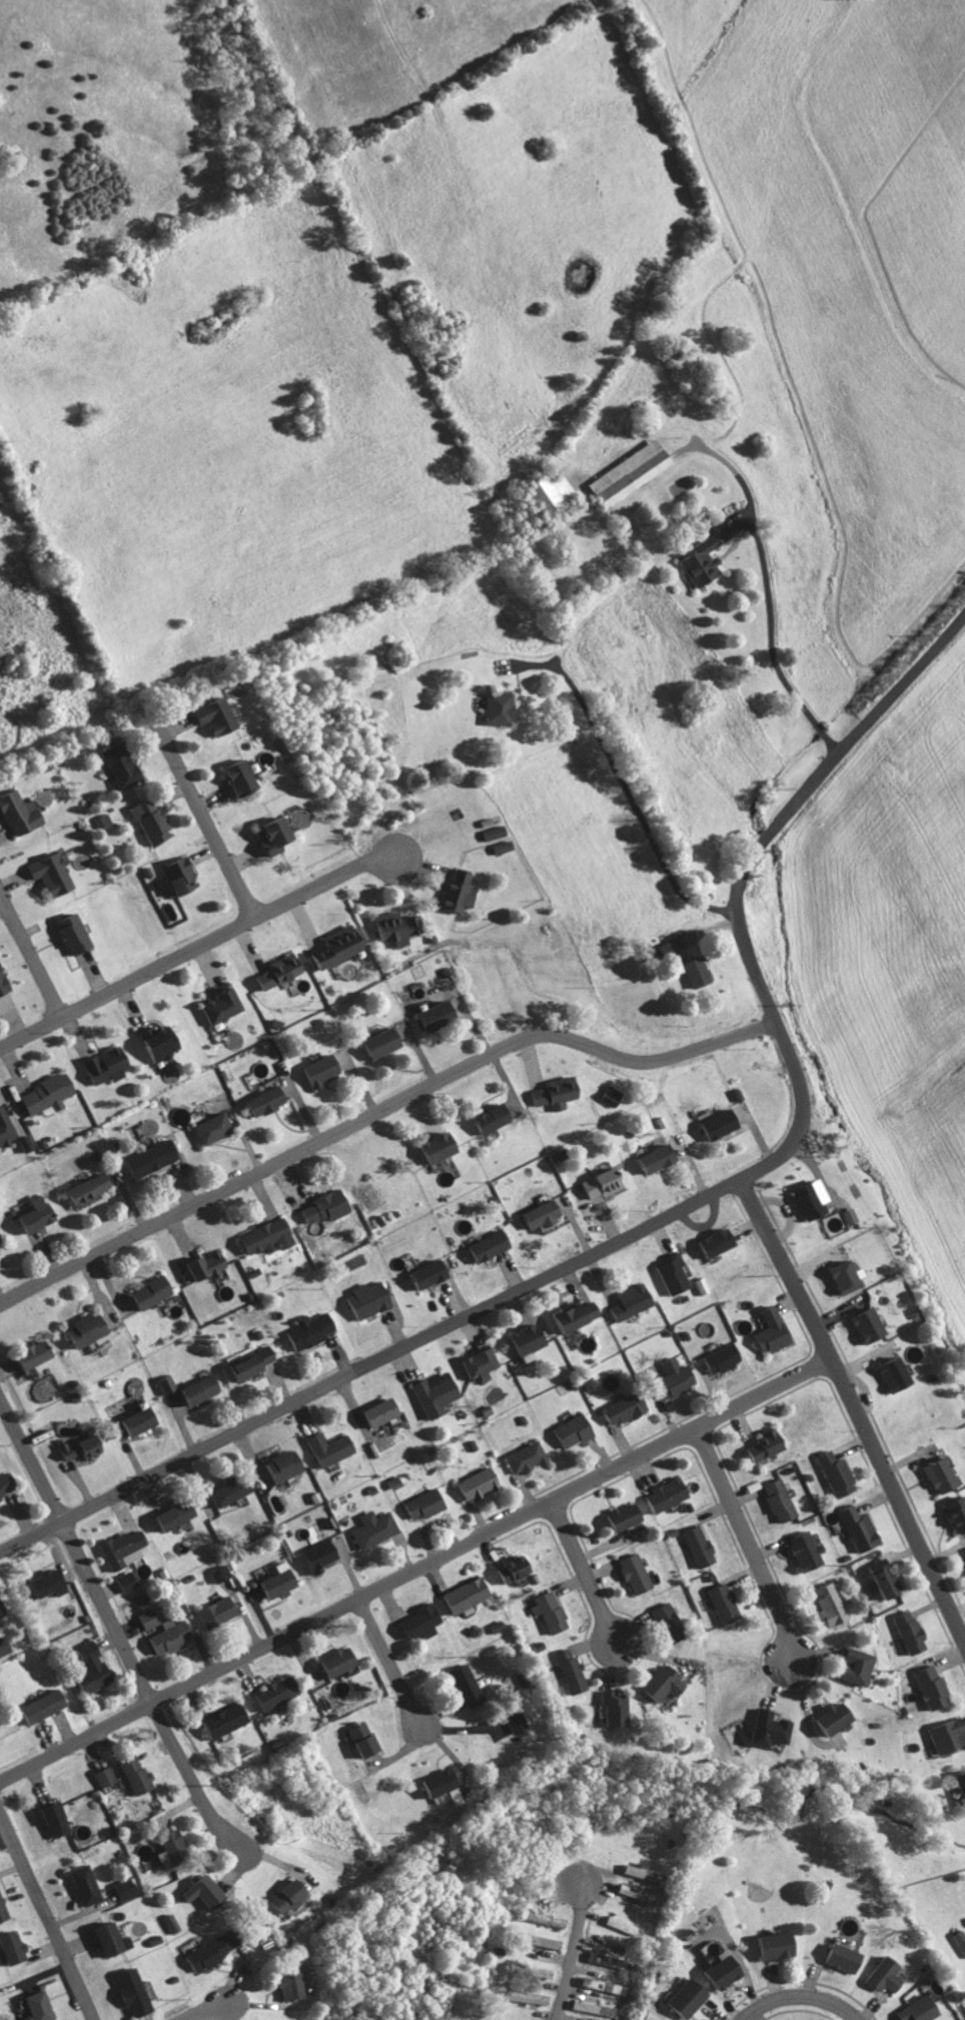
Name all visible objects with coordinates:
building: (623, 474)
building: (544, 491)
building: (702, 557)
road: (774, 645)
building: (493, 708)
building: (208, 715)
building: (116, 765)
building: (232, 775)
road: (622, 780)
building: (14, 812)
road: (203, 814)
building: (147, 820)
building: (490, 832)
building: (267, 834)
building: (498, 847)
building: (44, 873)
building: (173, 874)
building: (451, 891)
building: (389, 926)
building: (65, 932)
building: (332, 946)
building: (664, 948)
road: (192, 954)
road: (31, 961)
building: (274, 970)
building: (691, 971)
building: (215, 1004)
building: (427, 1014)
building: (374, 1042)
building: (153, 1044)
building: (101, 1064)
building: (315, 1069)
building: (41, 1093)
building: (549, 1093)
building: (605, 1095)
building: (258, 1100)
road: (377, 1111)
building: (483, 1118)
building: (712, 1124)
building: (206, 1127)
building: (4, 1129)
building: (430, 1147)
building: (146, 1158)
building: (649, 1158)
building: (594, 1183)
building: (82, 1190)
building: (804, 1198)
building: (321, 1205)
road: (675, 1211)
building: (534, 1214)
building: (30, 1215)
building: (845, 1215)
building: (1, 1236)
building: (261, 1237)
building: (708, 1242)
building: (482, 1246)
building: (201, 1265)
building: (422, 1273)
building: (668, 1274)
building: (837, 1277)
building: (144, 1292)
building: (363, 1300)
building: (626, 1302)
building: (569, 1315)
building: (859, 1325)
building: (79, 1330)
building: (306, 1330)
building: (765, 1331)
building: (521, 1341)
building: (39, 1354)
building: (716, 1358)
building: (245, 1364)
building: (471, 1364)
building: (886, 1373)
building: (668, 1379)
building: (163, 1383)
building: (194, 1389)
building: (430, 1393)
building: (618, 1408)
road: (852, 1411)
building: (373, 1412)
building: (132, 1421)
building: (568, 1431)
building: (758, 1446)
building: (86, 1447)
building: (324, 1448)
building: (522, 1457)
road: (30, 1461)
building: (278, 1466)
building: (830, 1473)
building: (931, 1475)
building: (474, 1484)
building: (8, 1485)
building: (225, 1490)
building: (661, 1494)
building: (774, 1500)
building: (419, 1504)
building: (169, 1515)
building: (618, 1516)
building: (370, 1528)
building: (853, 1528)
road: (744, 1538)
building: (695, 1546)
building: (125, 1548)
building: (800, 1551)
building: (963, 1555)
building: (313, 1556)
building: (510, 1567)
road: (413, 1569)
road: (581, 1571)
building: (630, 1572)
building: (217, 1573)
building: (878, 1578)
building: (129, 1581)
building: (52, 1582)
building: (272, 1582)
building: (461, 1596)
building: (719, 1603)
building: (826, 1605)
building: (3, 1607)
building: (545, 1611)
building: (216, 1612)
building: (149, 1619)
building: (416, 1621)
building: (663, 1623)
building: (495, 1626)
building: (904, 1632)
building: (172, 1636)
building: (5, 1645)
road: (388, 1658)
building: (332, 1661)
building: (95, 1665)
building: (852, 1666)
building: (567, 1671)
building: (658, 1683)
building: (461, 1684)
building: (926, 1686)
building: (271, 1693)
road: (149, 1695)
building: (46, 1705)
building: (610, 1709)
building: (512, 1718)
building: (829, 1718)
building: (229, 1719)
building: (764, 1728)
building: (944, 1735)
building: (358, 1739)
building: (137, 1774)
building: (105, 1776)
building: (437, 1785)
building: (959, 1788)
building: (57, 1819)
building: (175, 1850)
road: (954, 1869)
building: (636, 1871)
building: (87, 1885)
building: (126, 1888)
building: (208, 1892)
building: (290, 1895)
building: (4, 1908)
road: (45, 1920)
building: (171, 1923)
building: (115, 1940)
building: (536, 1941)
building: (958, 1942)
building: (767, 1946)
building: (16, 1947)
building: (213, 1950)
road: (571, 1954)
building: (835, 1958)
building: (597, 1959)
building: (532, 1971)
building: (715, 1973)
building: (878, 1975)
building: (294, 1985)
road: (799, 1992)
building: (135, 1993)
building: (521, 1997)
building: (681, 1999)
building: (41, 2006)
building: (588, 2008)
road: (214, 2009)
building: (912, 2010)

